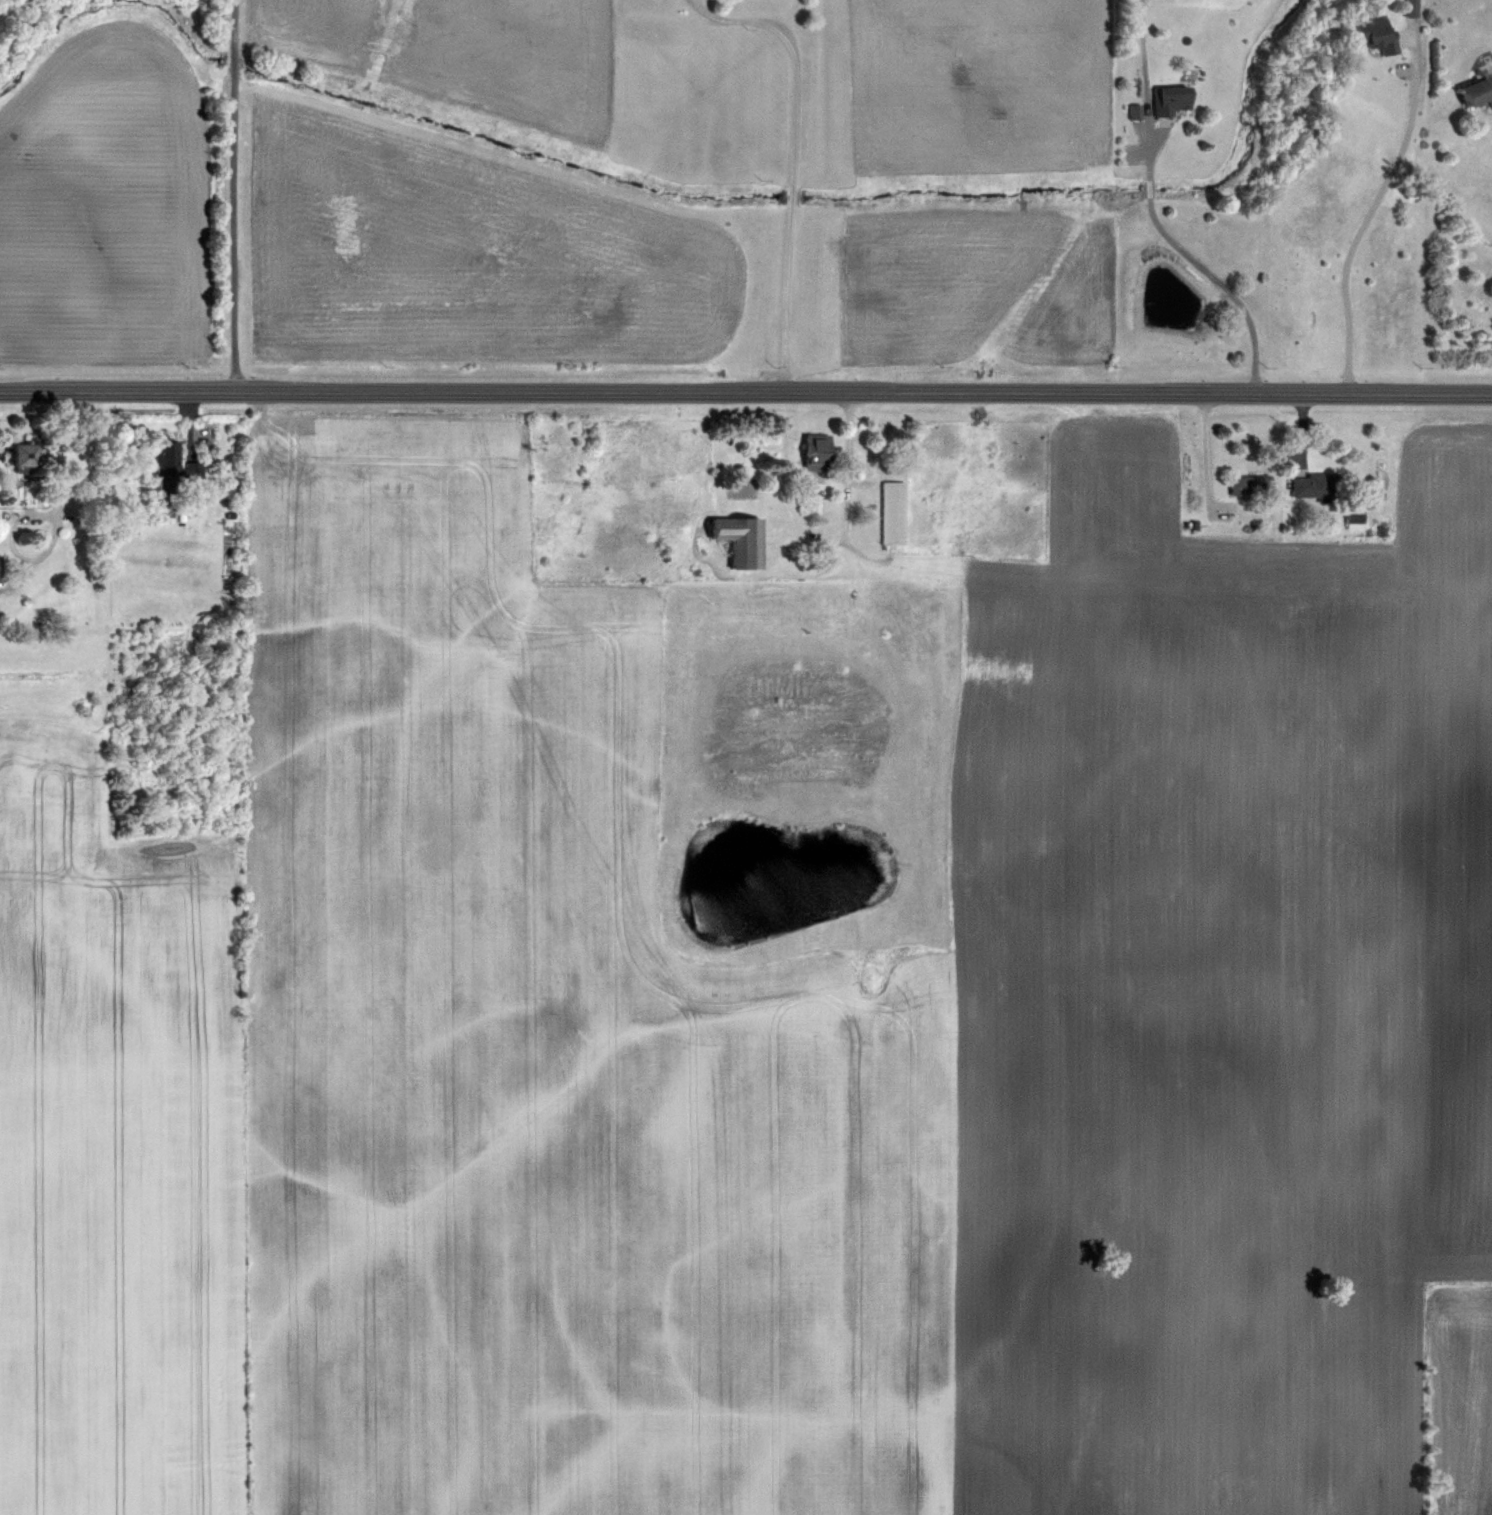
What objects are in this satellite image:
building: (1366, 35)
building: (1472, 91)
building: (1164, 100)
road: (788, 162)
road: (232, 195)
road: (1156, 215)
road: (1366, 215)
road: (746, 392)
building: (807, 451)
building: (8, 455)
building: (165, 460)
building: (1242, 485)
building: (1304, 485)
building: (887, 512)
road: (47, 522)
building: (730, 538)

